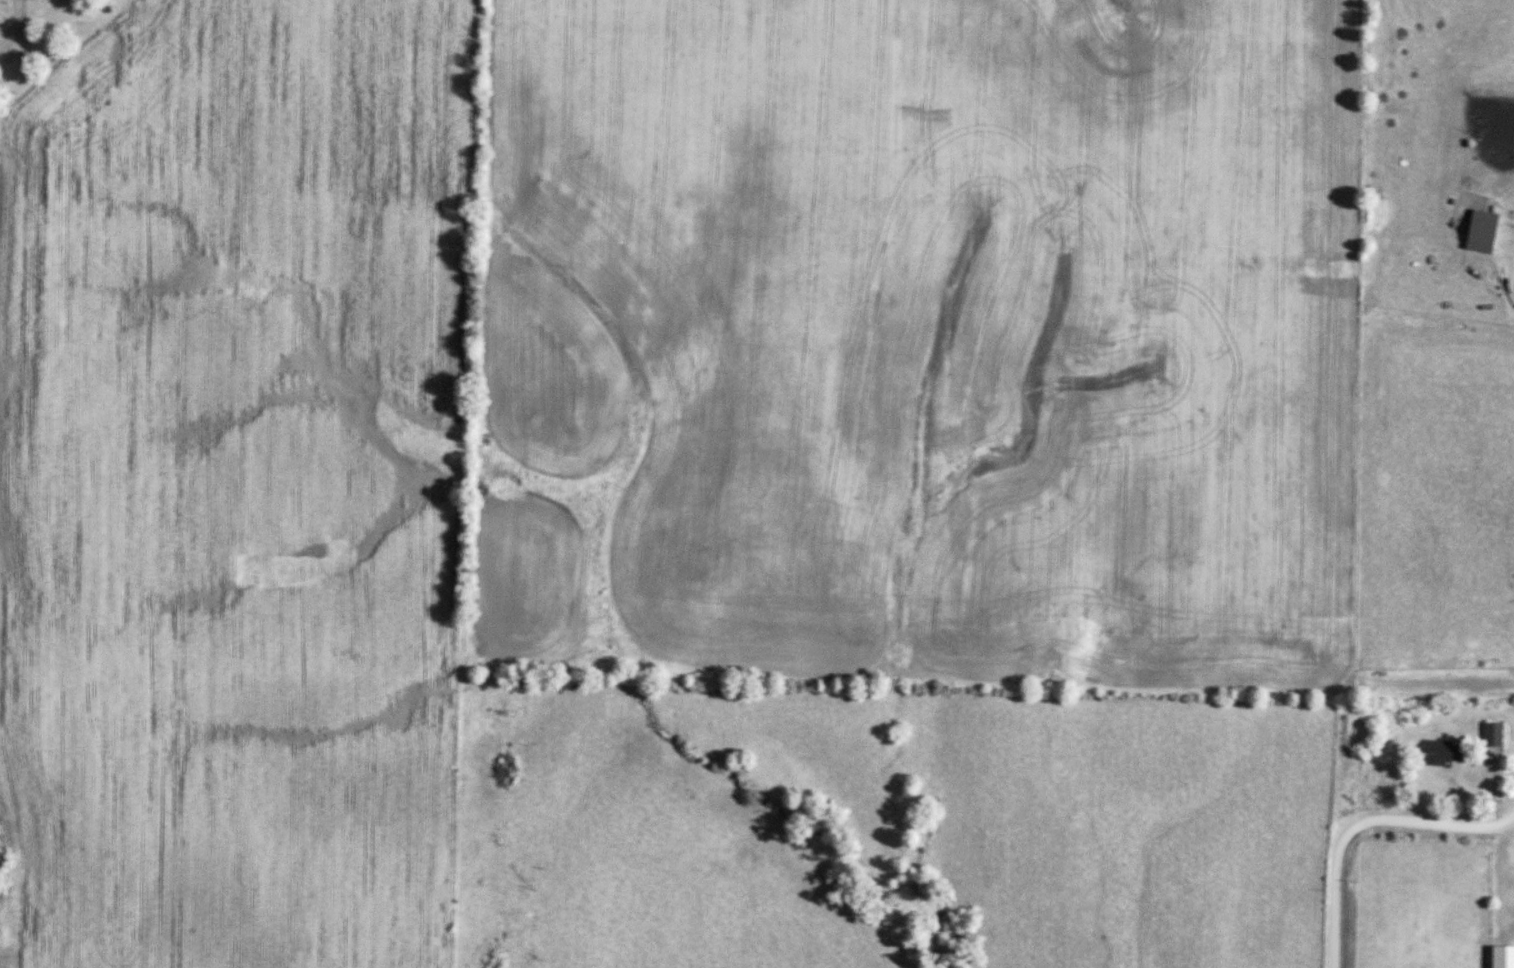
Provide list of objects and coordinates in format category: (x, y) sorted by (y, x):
road: (20, 30)
road: (1510, 270)
building: (1493, 733)
building: (1441, 751)
road: (1365, 826)
building: (1503, 956)

